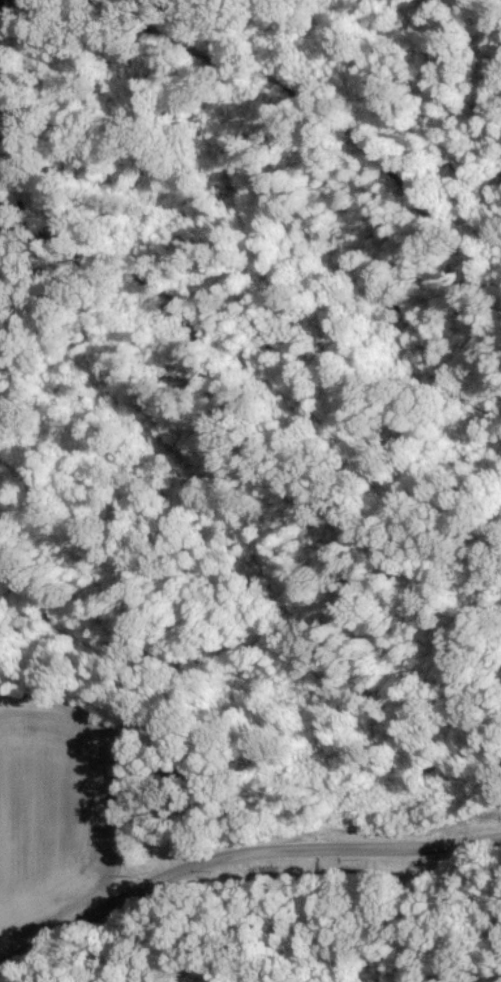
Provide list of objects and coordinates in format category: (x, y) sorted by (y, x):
road: (238, 851)

